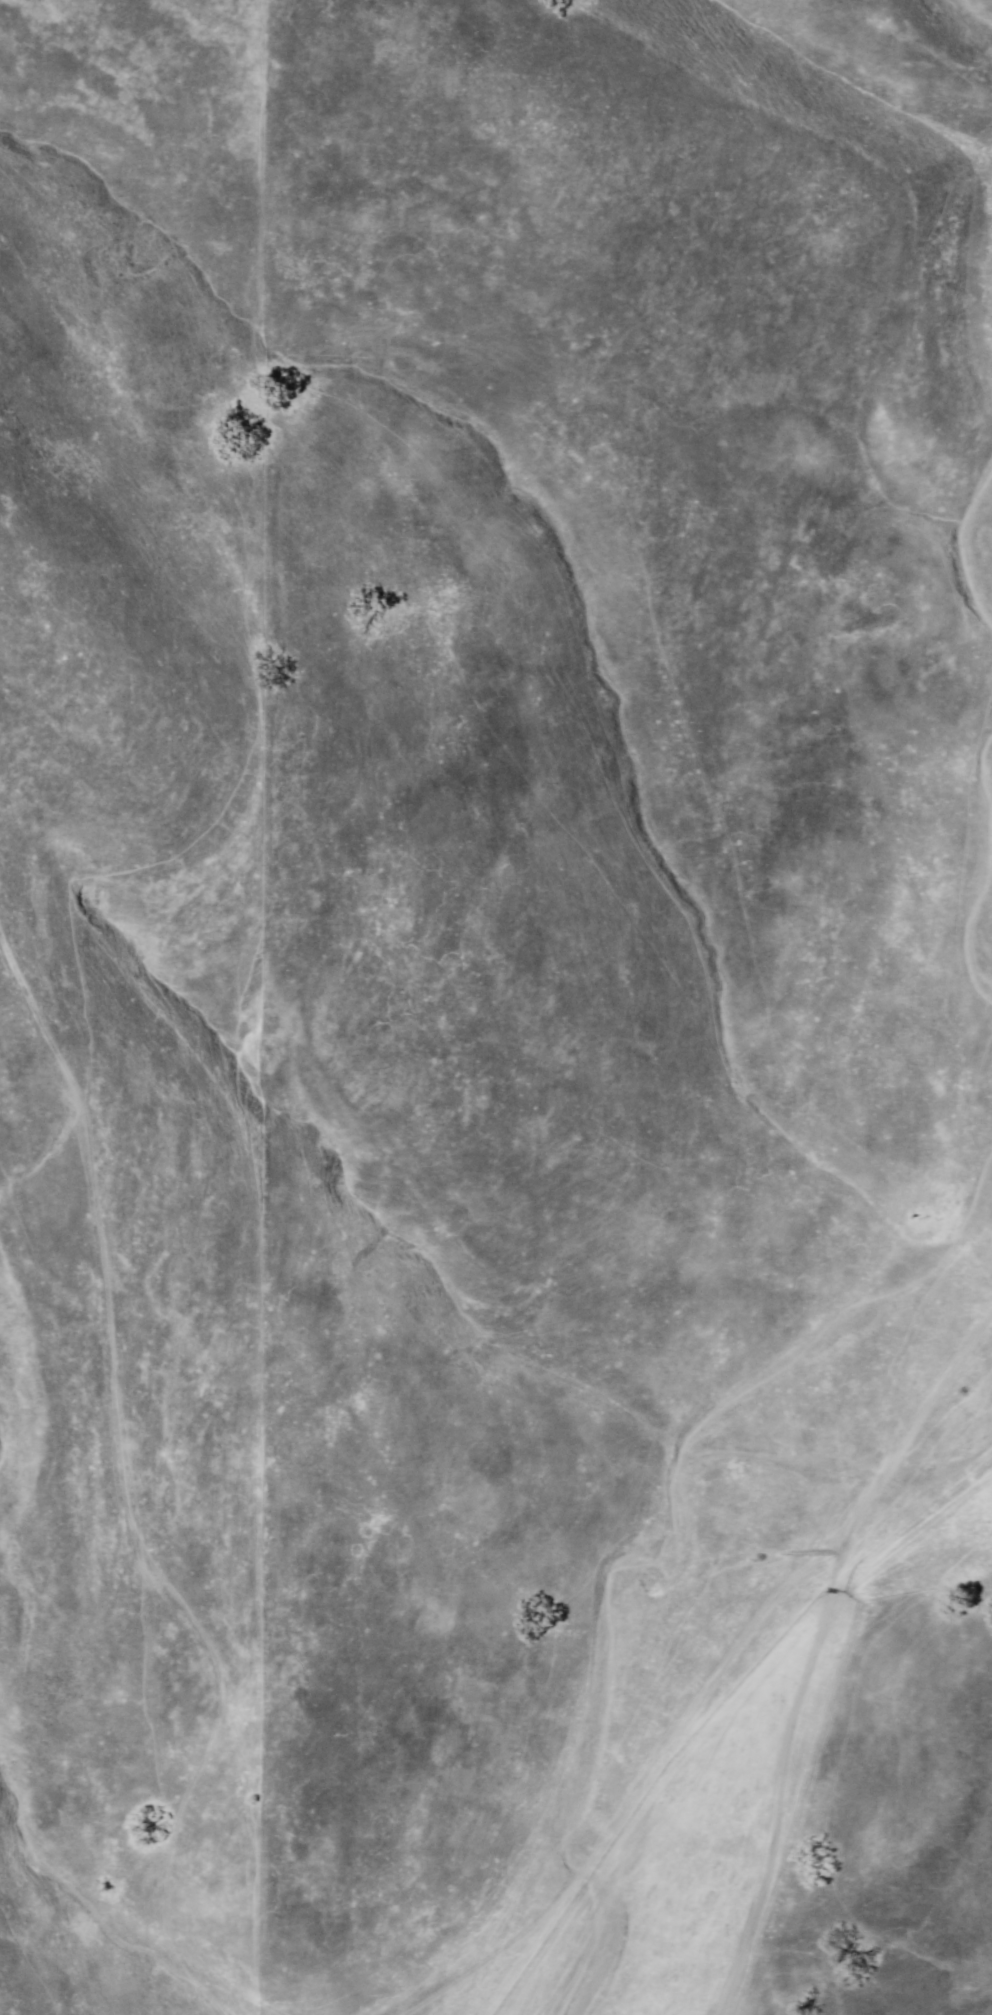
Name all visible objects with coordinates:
road: (908, 1535)
road: (815, 1648)

